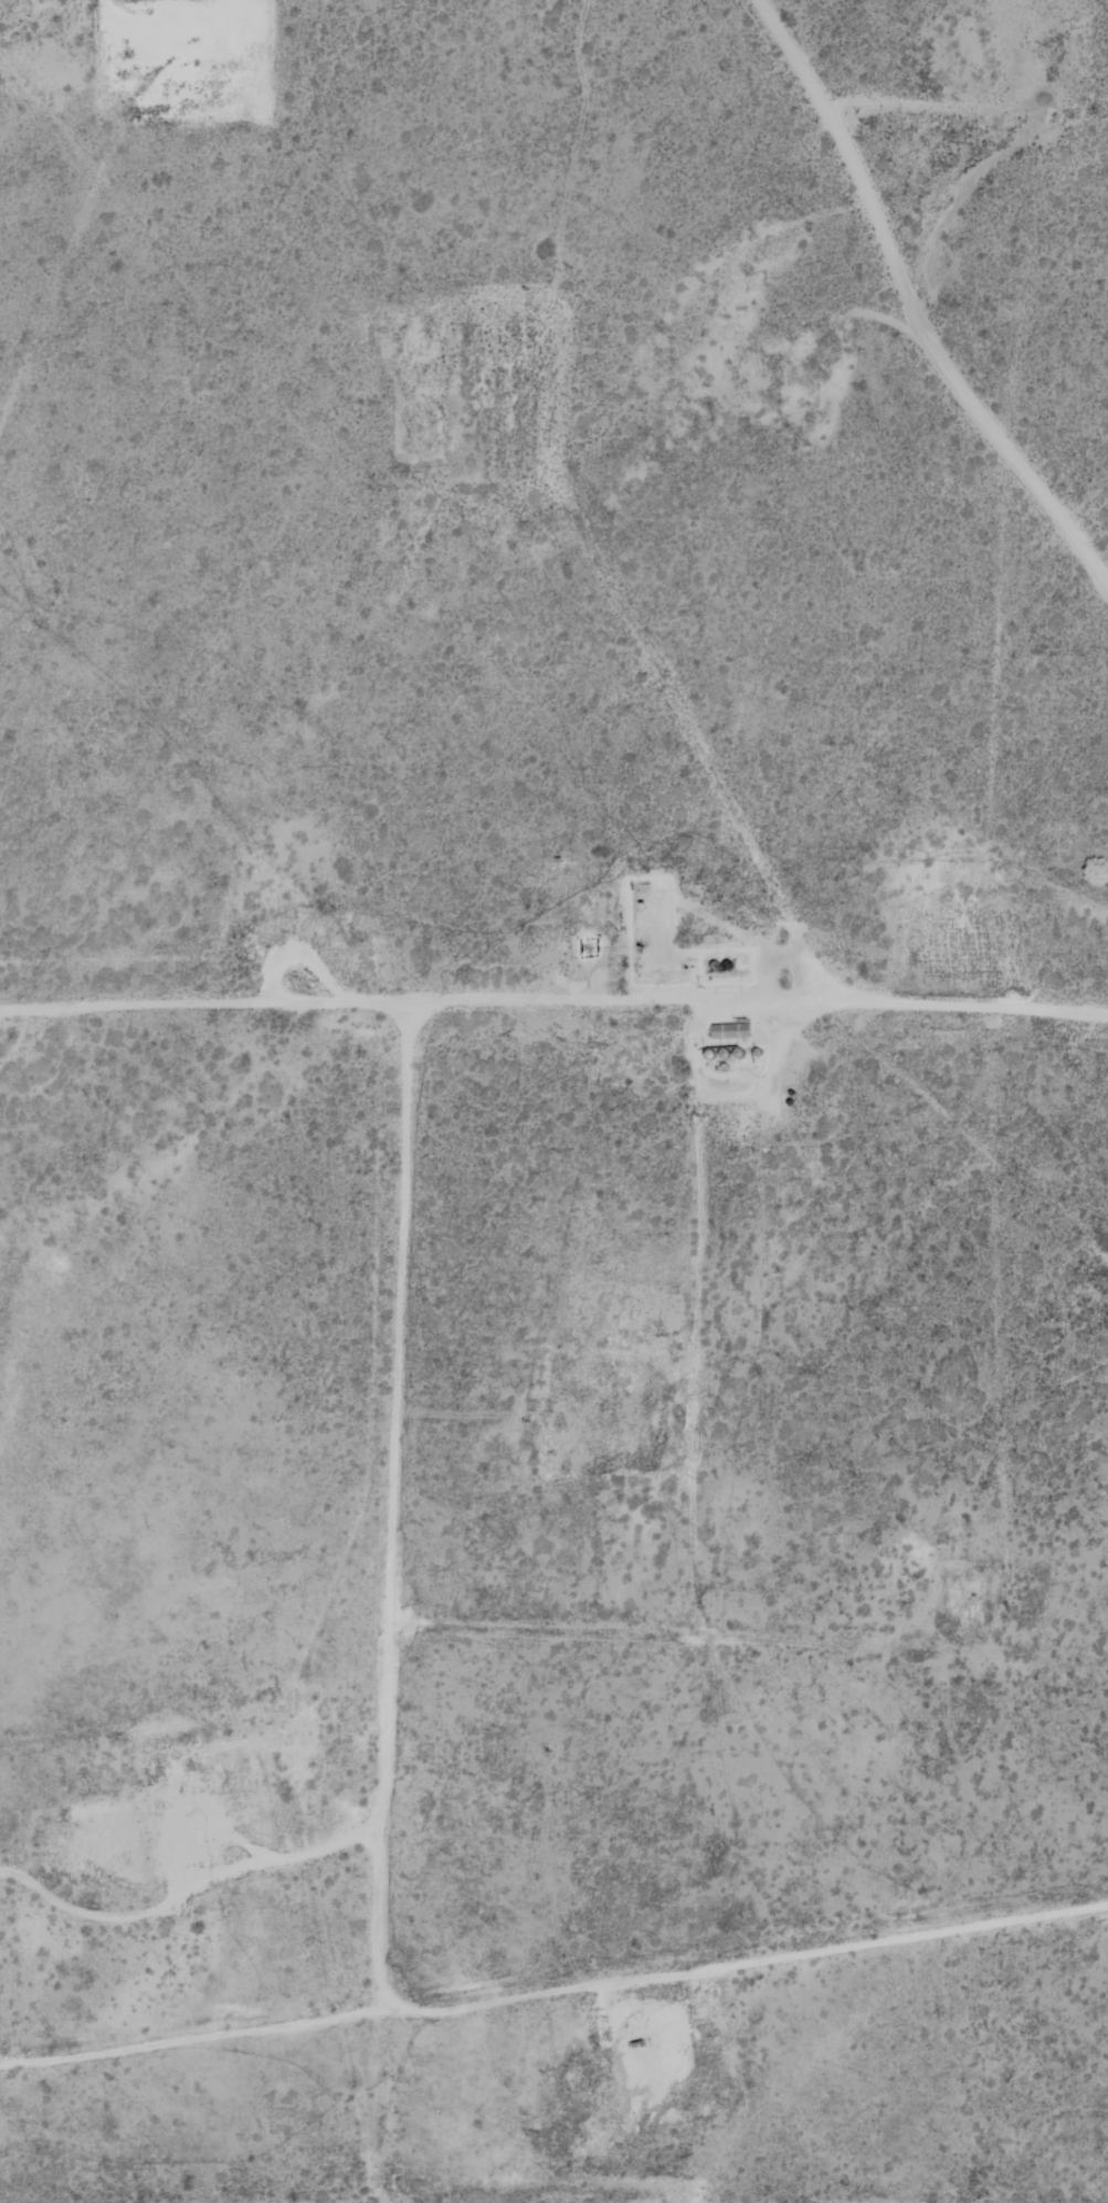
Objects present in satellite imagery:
road: (980, 149)
road: (915, 303)
road: (553, 1004)
road: (358, 1420)
road: (727, 1491)
road: (497, 1835)

